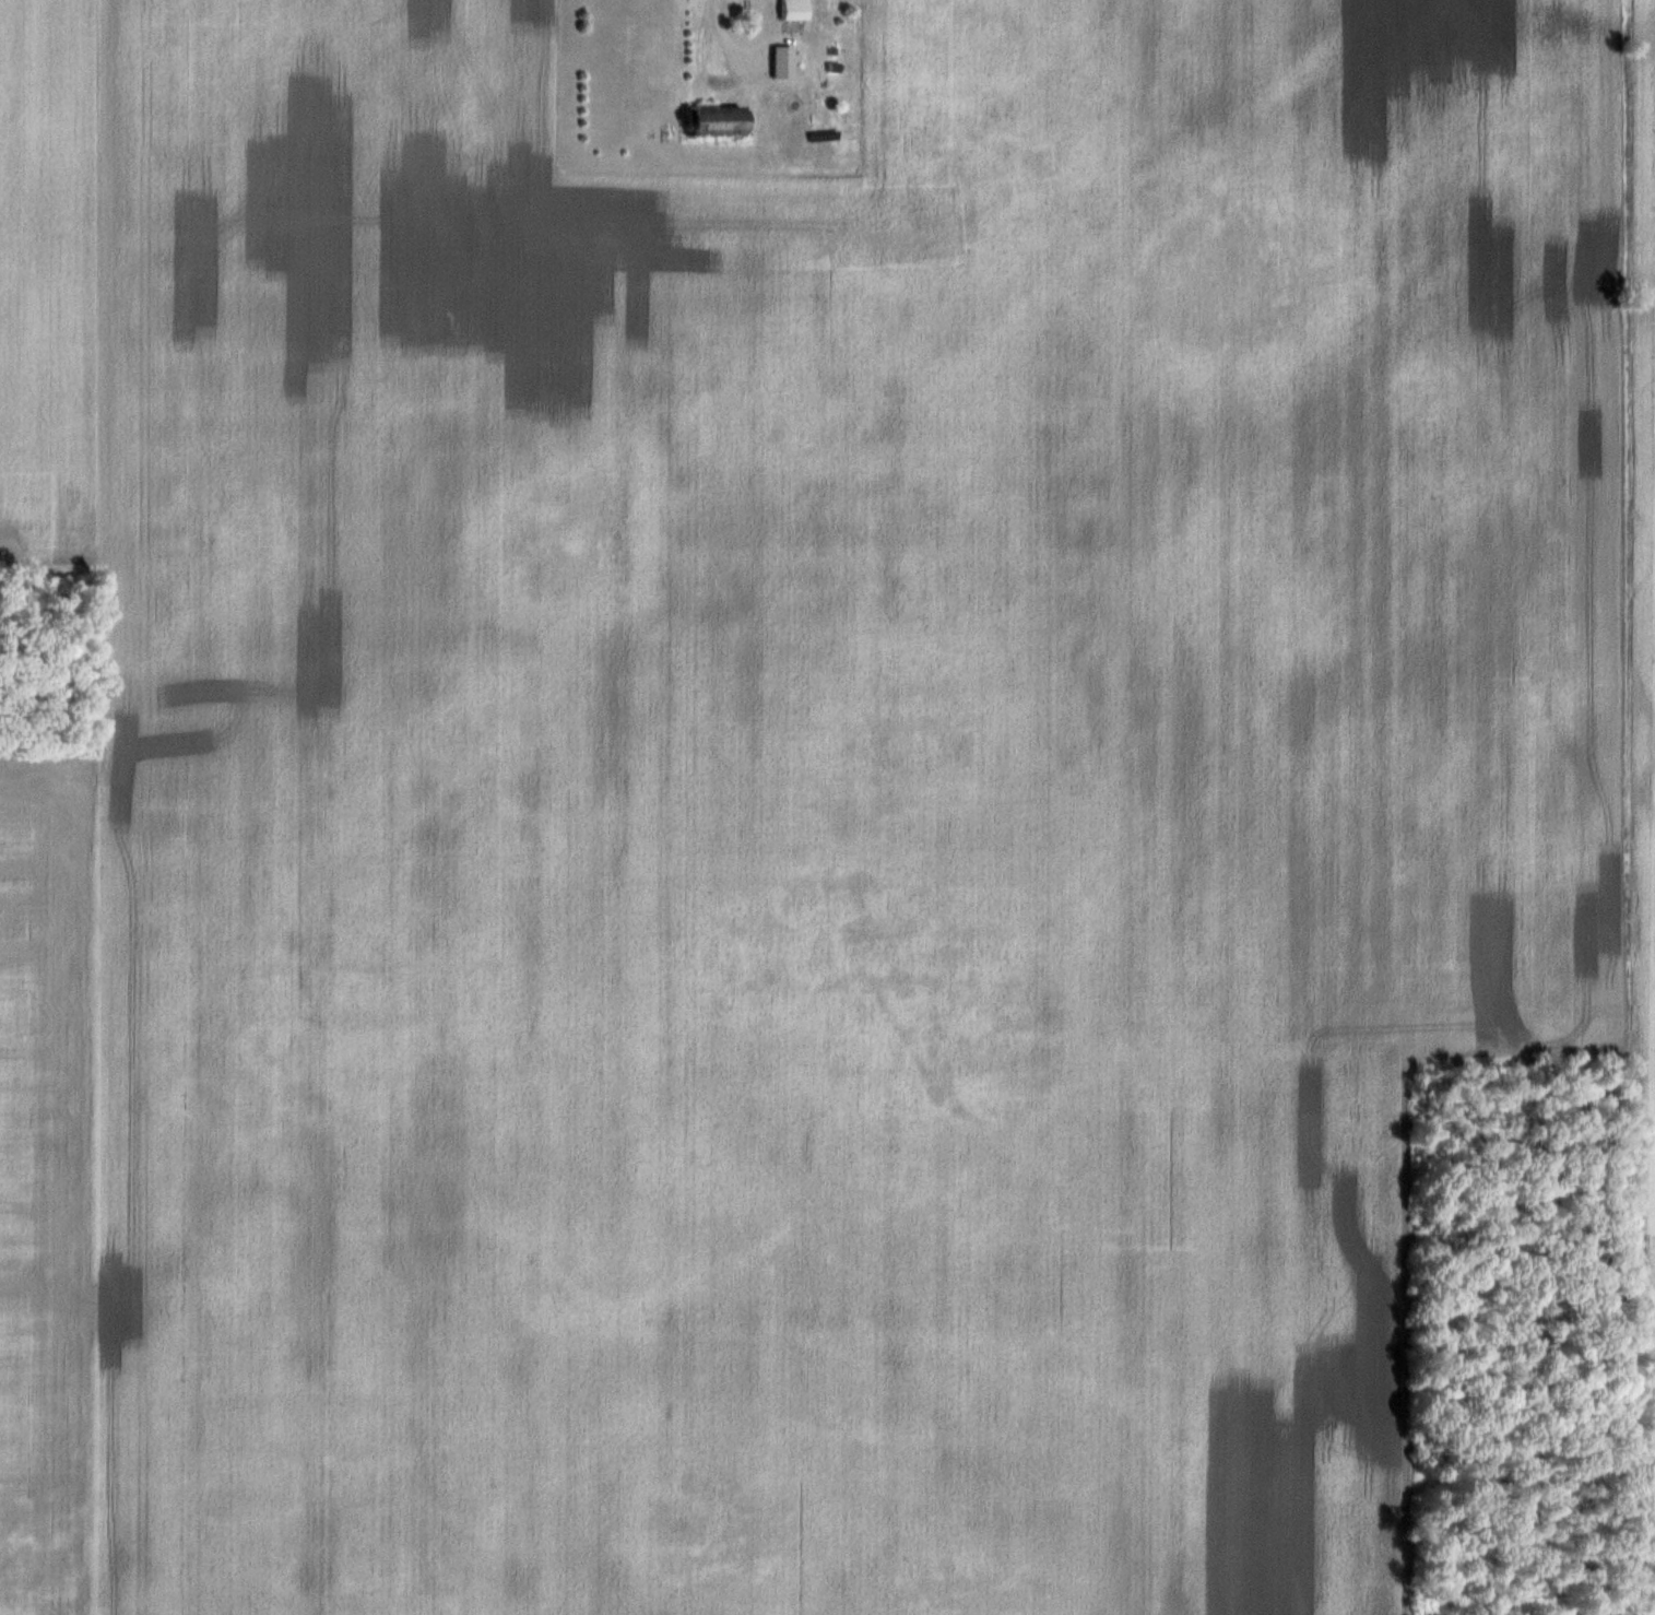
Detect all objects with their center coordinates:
building: (796, 9)
road: (723, 34)
building: (787, 61)
building: (723, 120)

